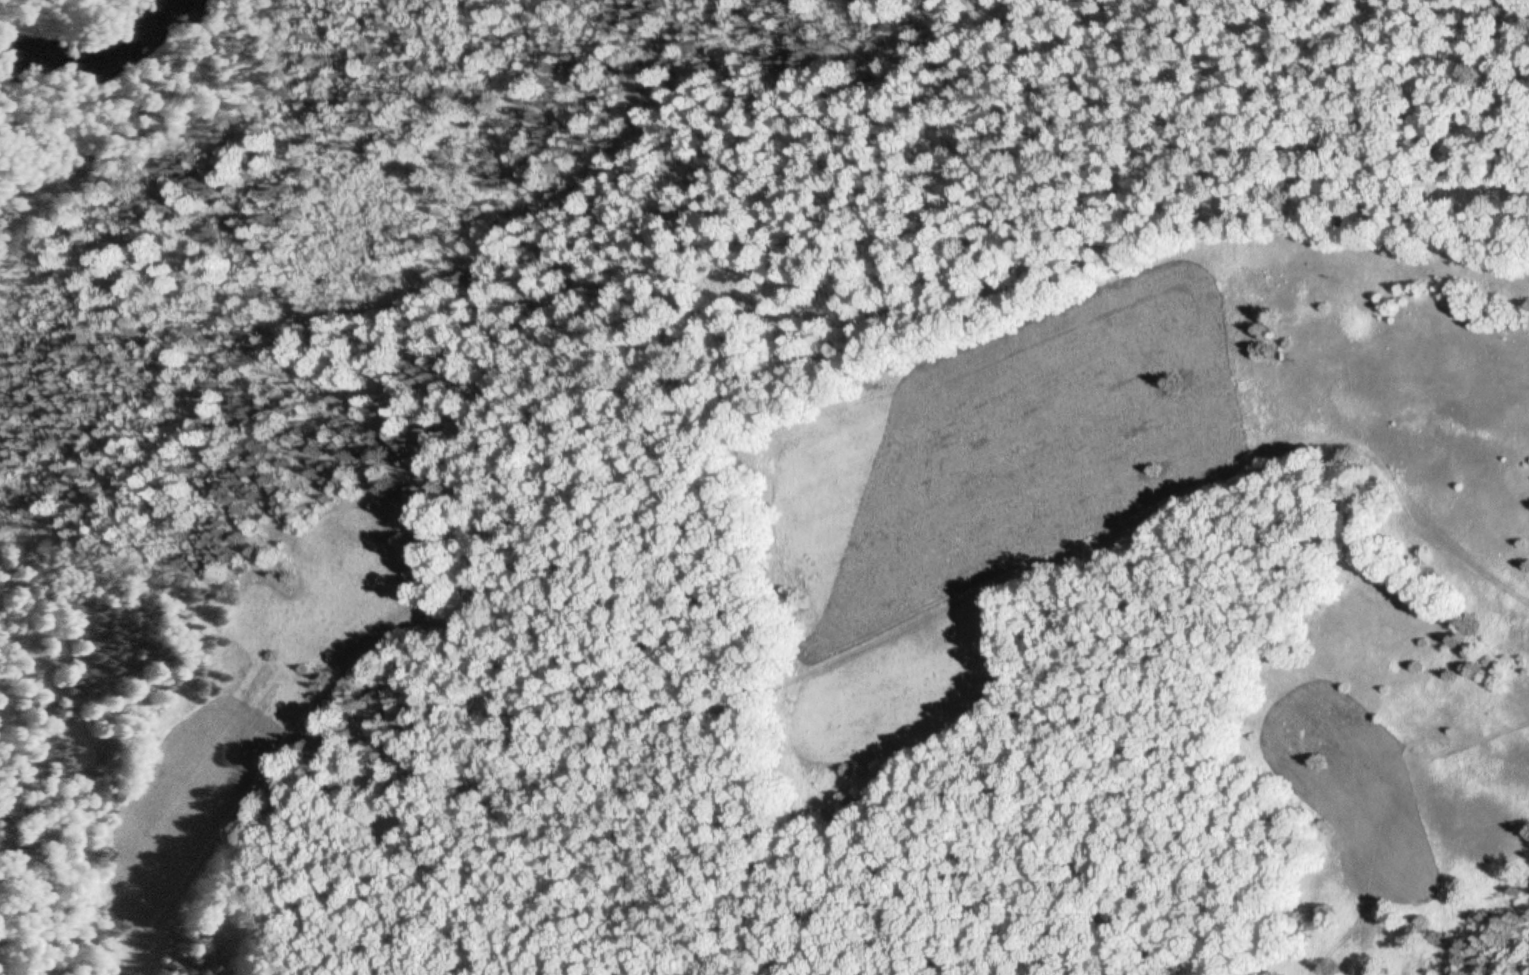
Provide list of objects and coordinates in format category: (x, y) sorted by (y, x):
river: (94, 46)
road: (729, 103)

